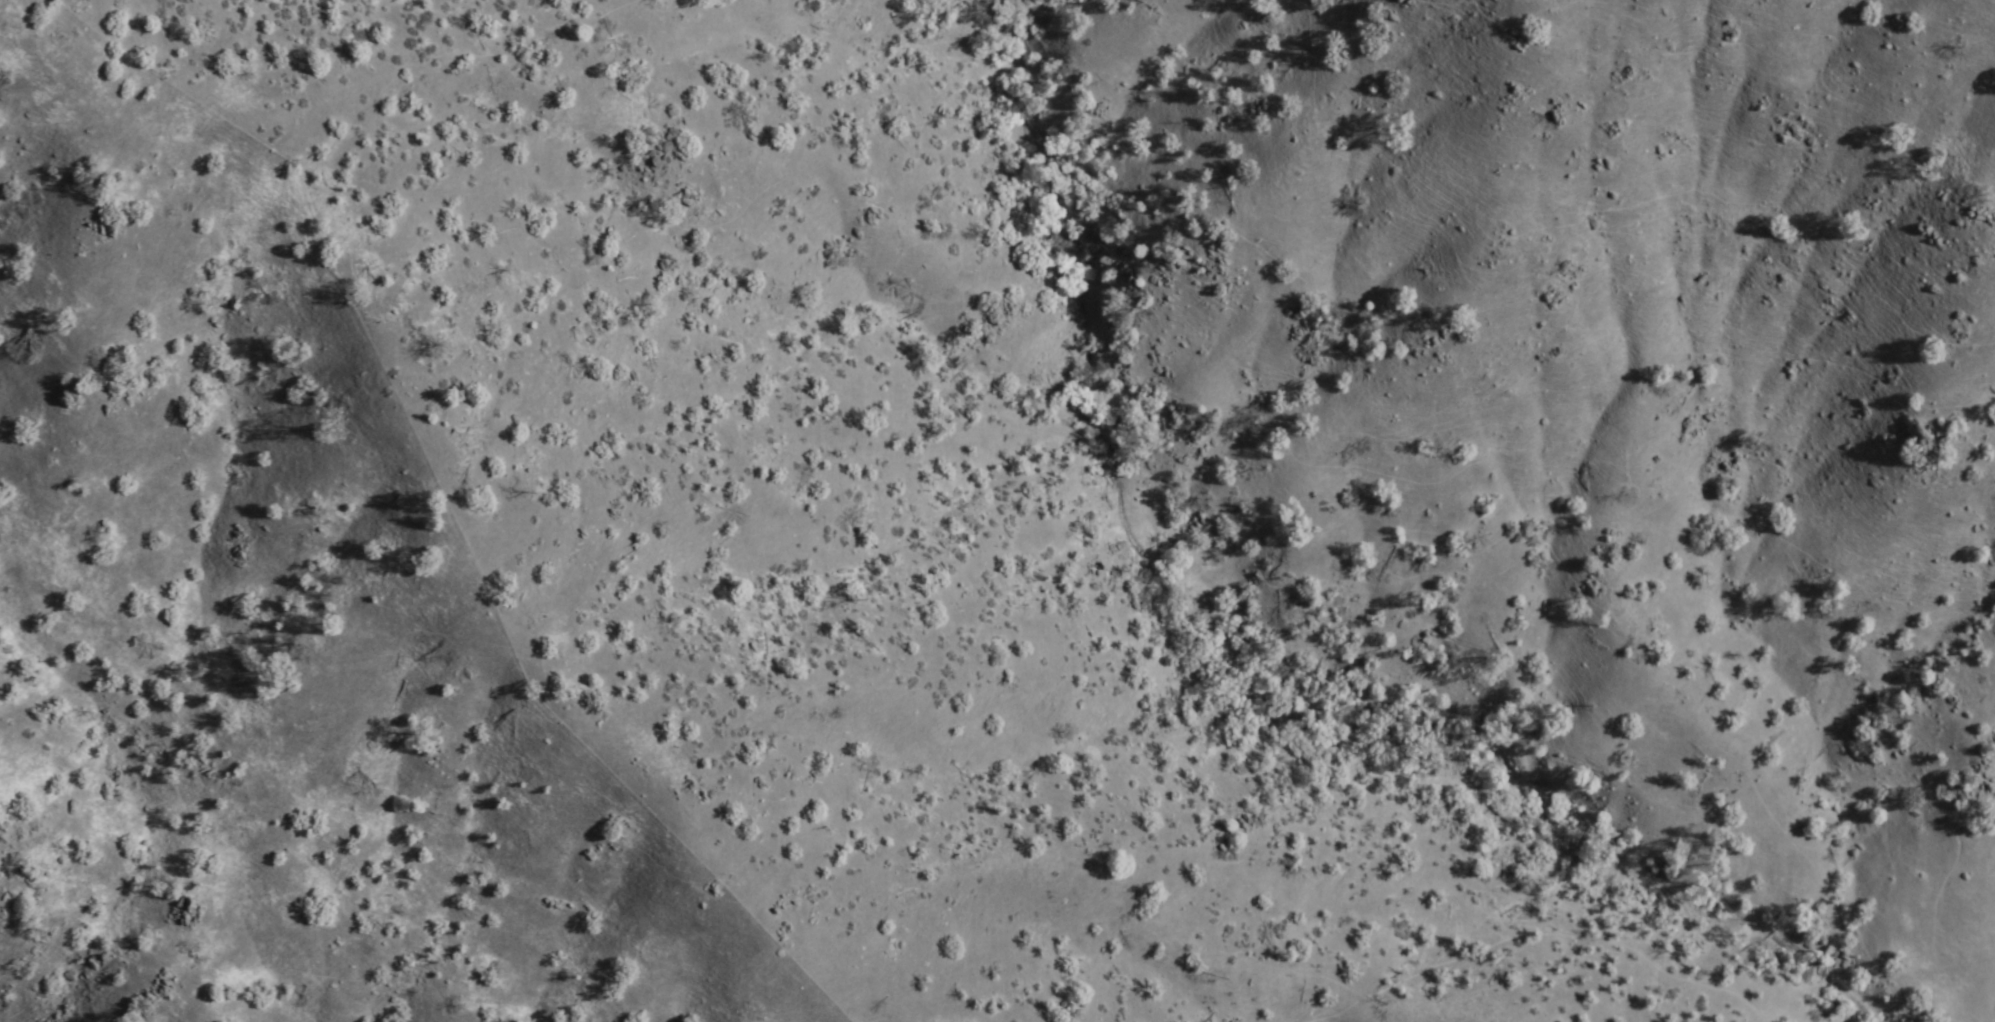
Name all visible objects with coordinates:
road: (1535, 934)

